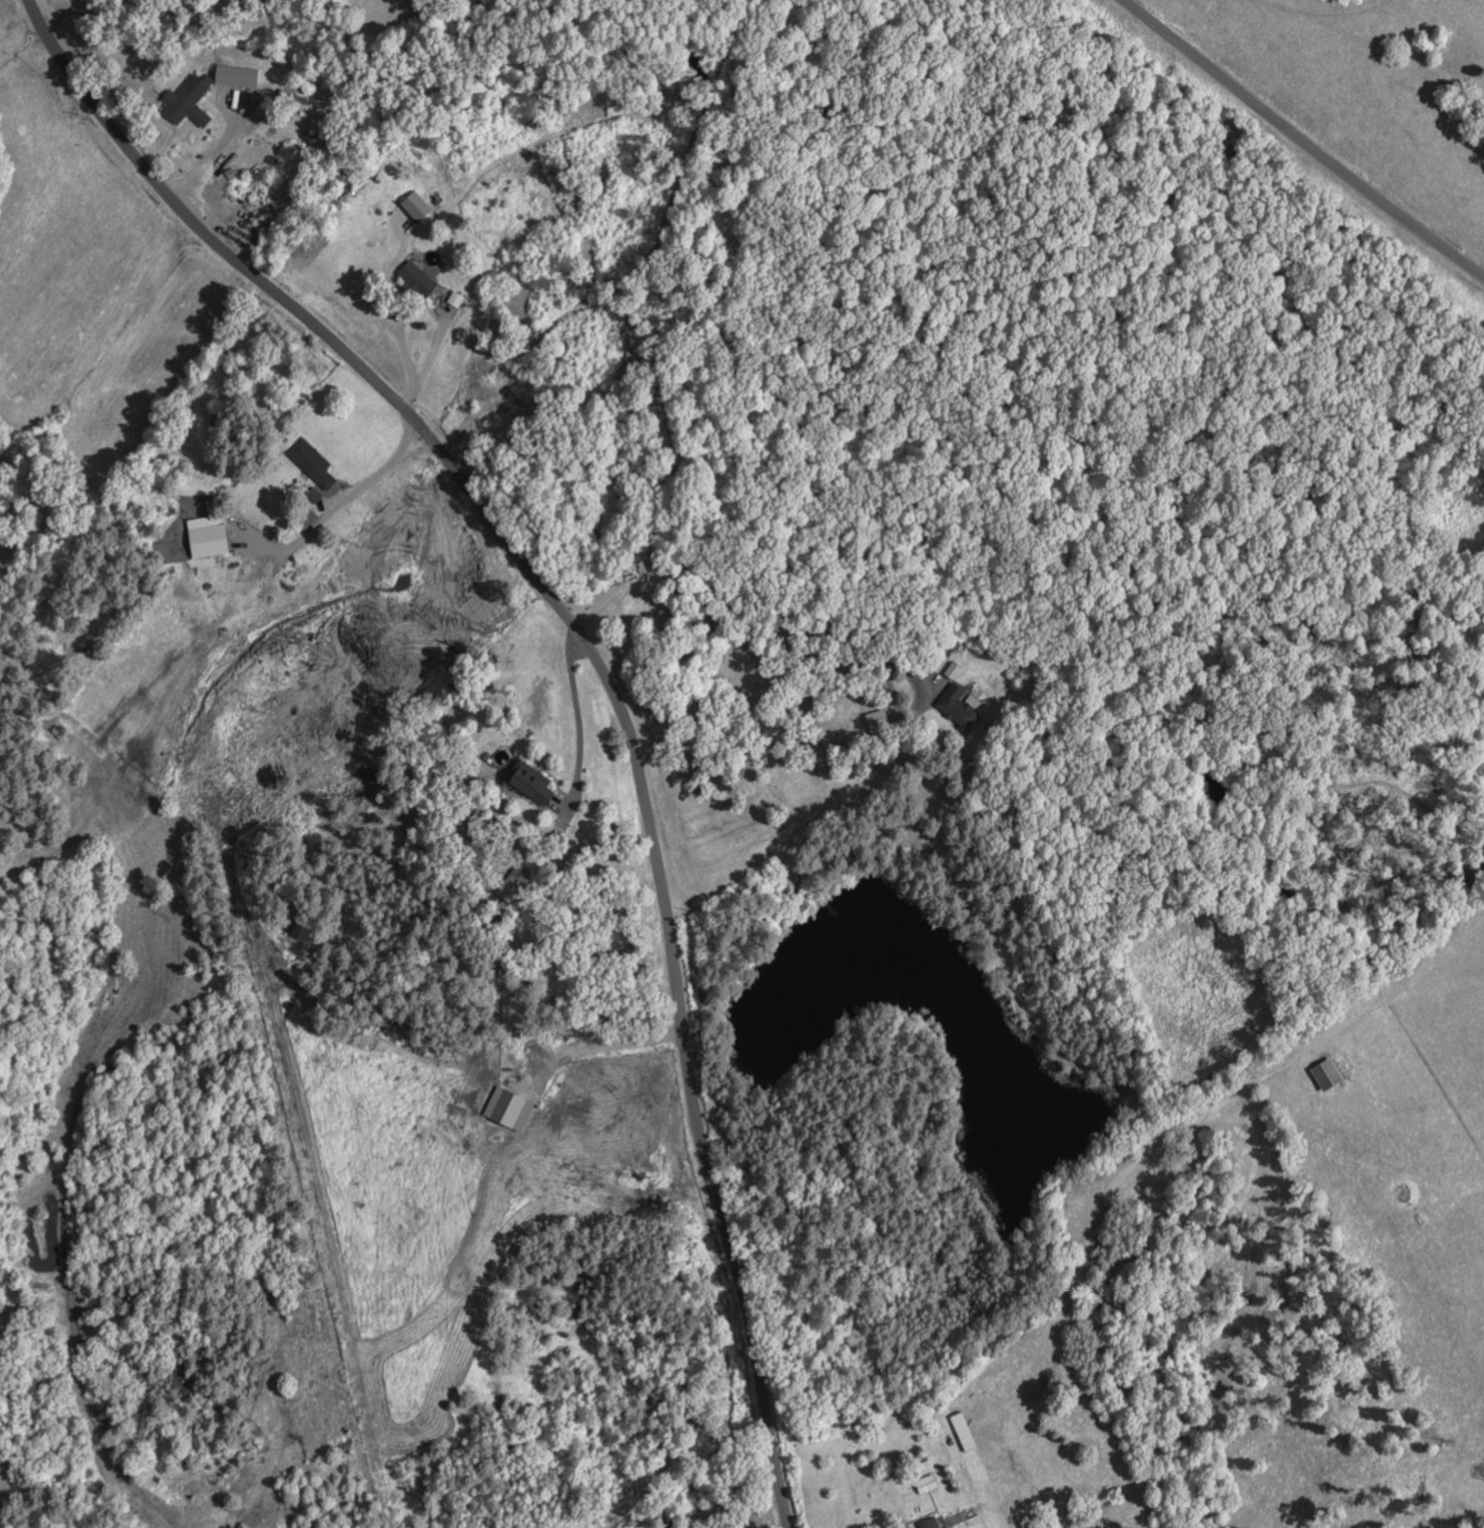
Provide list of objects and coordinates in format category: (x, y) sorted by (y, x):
building: (237, 76)
building: (188, 102)
road: (1289, 137)
building: (417, 206)
building: (418, 280)
building: (313, 463)
building: (315, 496)
building: (305, 518)
building: (209, 536)
road: (603, 666)
building: (954, 670)
building: (960, 707)
road: (573, 717)
building: (533, 784)
building: (1329, 1075)
building: (506, 1107)
building: (931, 1523)

